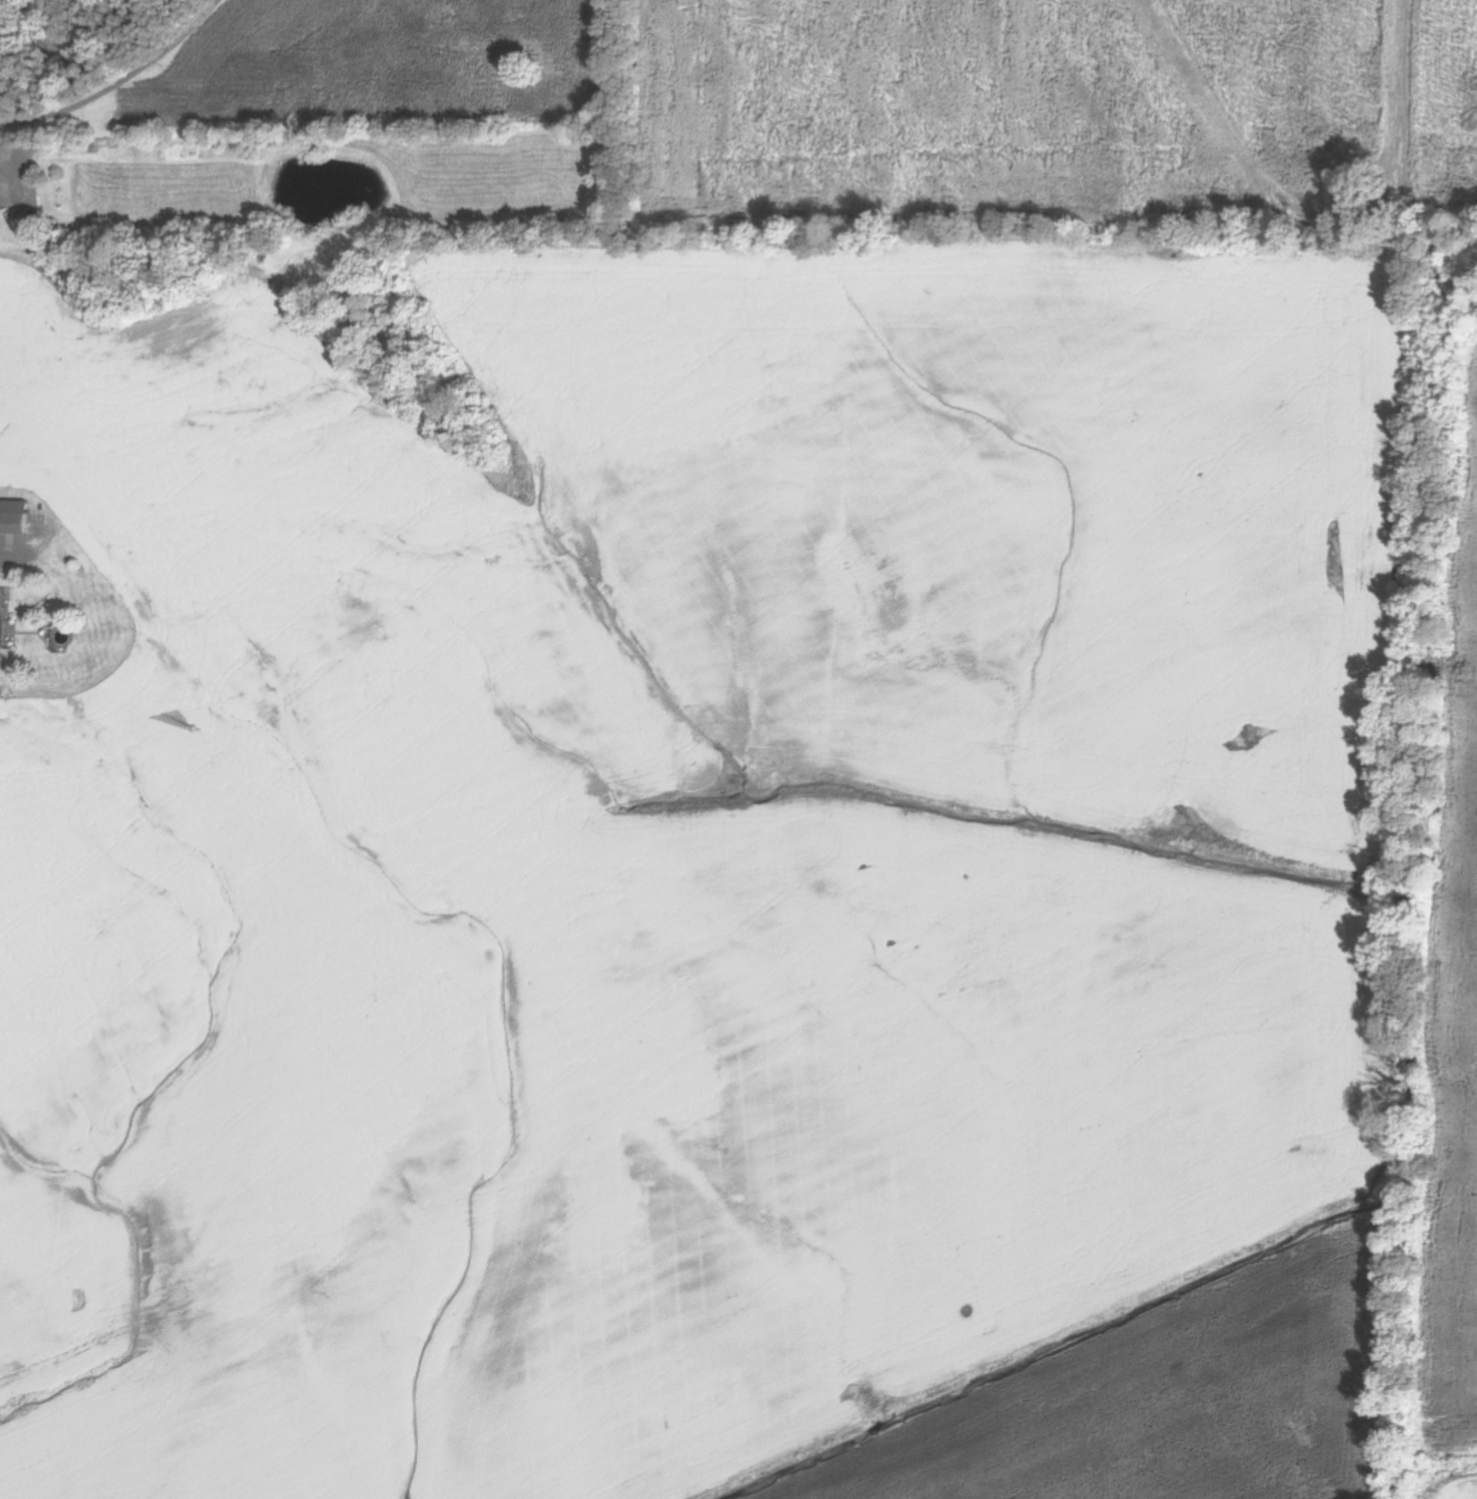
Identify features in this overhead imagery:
building: (71, 148)
building: (11, 517)
building: (863, 541)
building: (1020, 1155)
crop: (1159, 1402)

